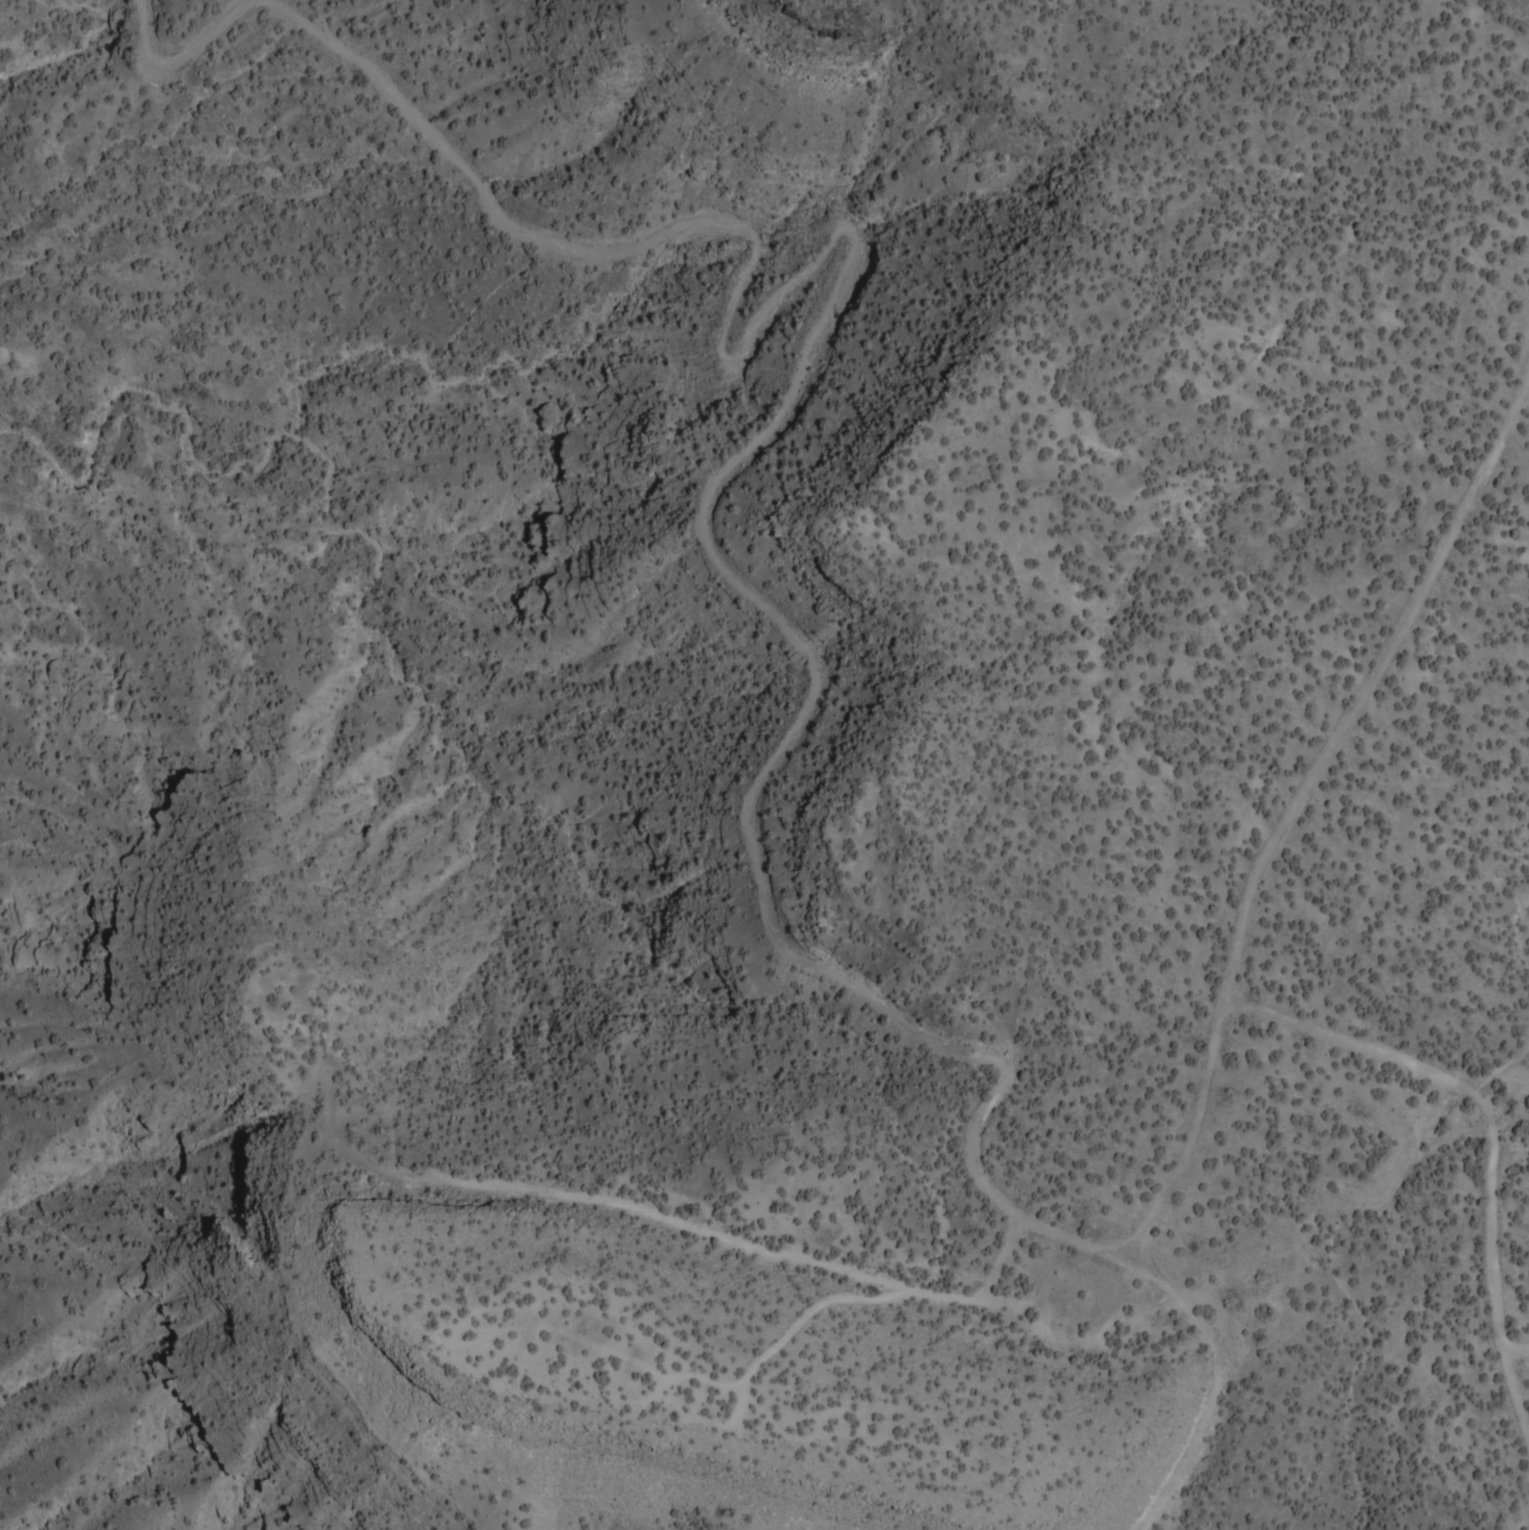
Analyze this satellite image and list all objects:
road: (763, 846)
road: (1446, 1155)

